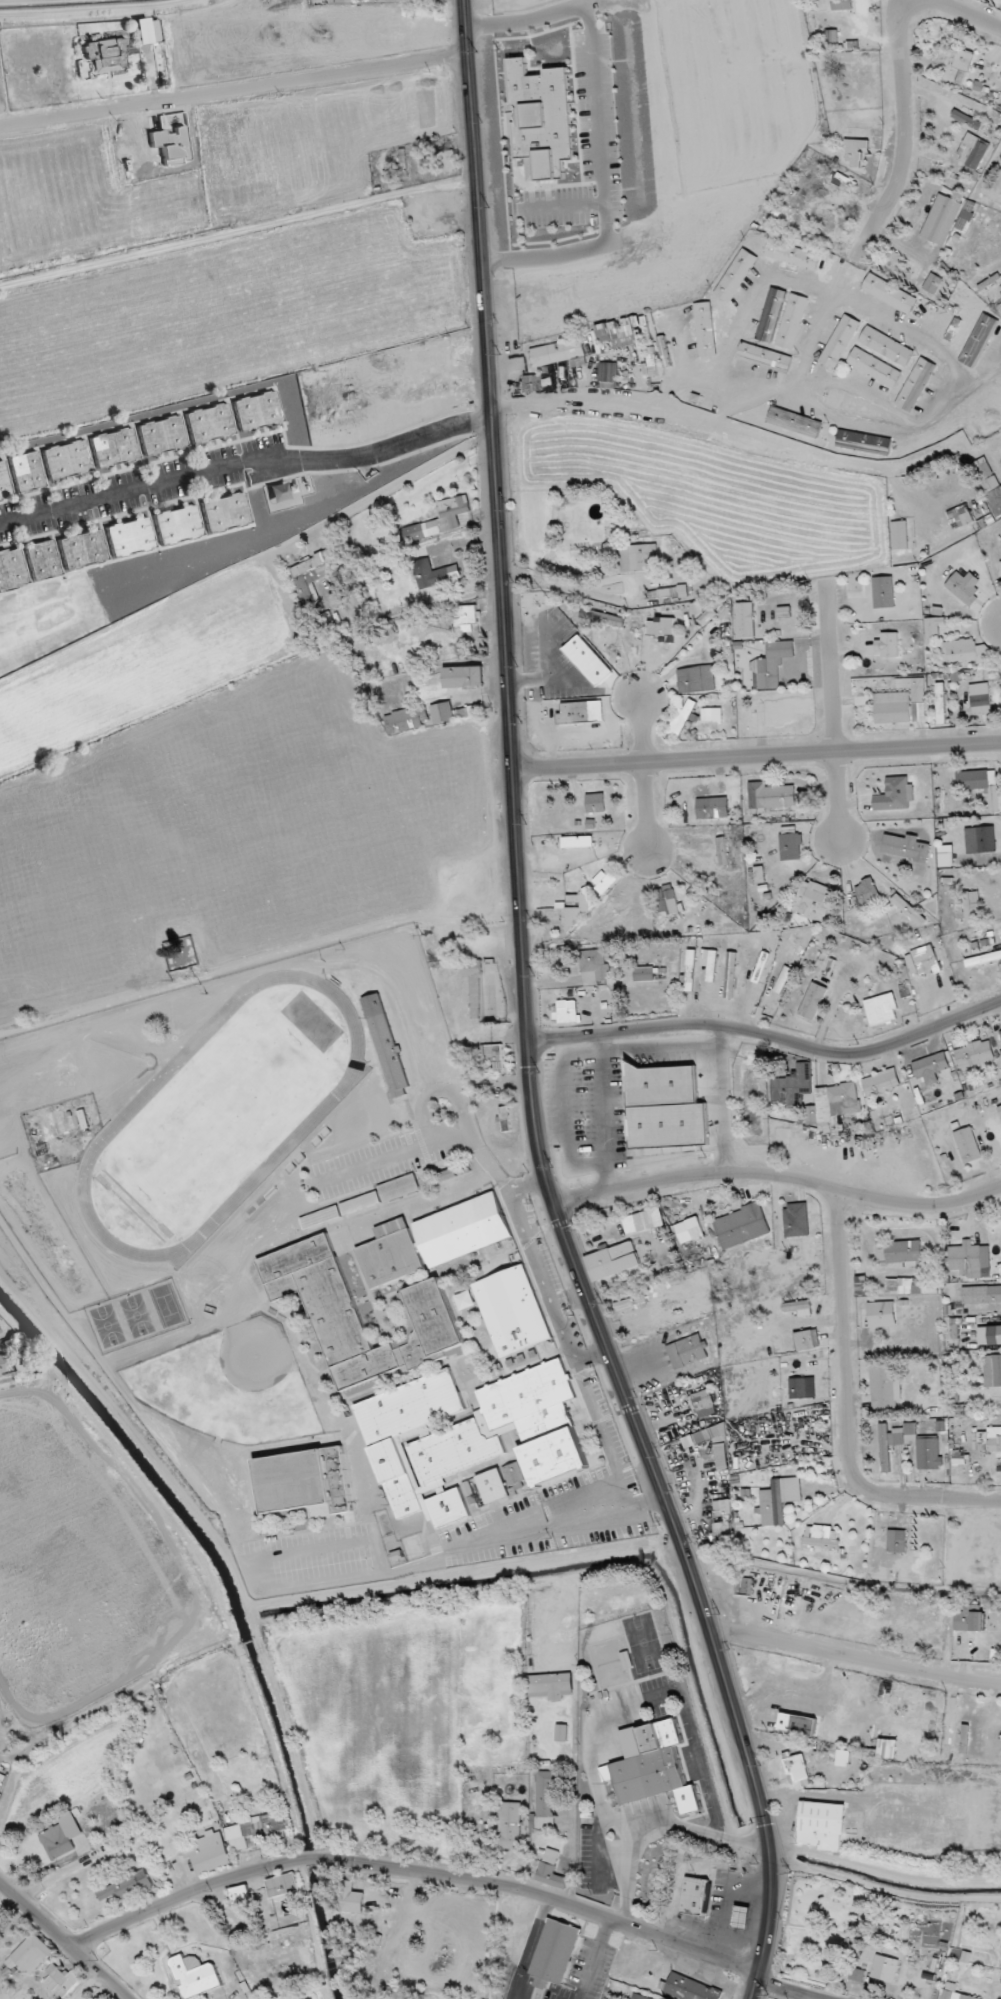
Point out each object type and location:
building: (841, 5)
road: (114, 8)
road: (973, 13)
building: (147, 30)
building: (831, 35)
building: (106, 55)
building: (962, 61)
road: (234, 94)
building: (538, 115)
building: (966, 120)
road: (600, 125)
building: (972, 150)
building: (854, 151)
building: (447, 160)
building: (971, 173)
building: (844, 182)
building: (967, 212)
building: (772, 218)
building: (941, 219)
road: (871, 226)
building: (791, 254)
building: (735, 275)
building: (932, 283)
building: (889, 293)
building: (770, 315)
building: (791, 321)
building: (704, 329)
building: (617, 331)
building: (978, 340)
building: (839, 341)
building: (640, 345)
building: (886, 346)
building: (560, 354)
building: (664, 354)
building: (764, 357)
building: (651, 361)
building: (873, 367)
building: (607, 375)
building: (537, 382)
building: (914, 384)
building: (257, 411)
building: (794, 422)
building: (209, 423)
building: (162, 435)
road: (742, 438)
building: (864, 439)
building: (114, 448)
building: (66, 460)
road: (246, 467)
building: (27, 471)
road: (405, 480)
building: (4, 482)
building: (989, 484)
building: (225, 513)
building: (959, 516)
building: (441, 519)
building: (178, 525)
building: (899, 535)
building: (130, 537)
building: (83, 549)
building: (639, 558)
building: (43, 560)
building: (11, 569)
building: (310, 570)
building: (1000, 571)
building: (434, 574)
road: (508, 578)
building: (963, 587)
road: (565, 589)
building: (672, 592)
building: (883, 592)
building: (696, 608)
building: (783, 611)
building: (464, 618)
building: (602, 618)
building: (745, 620)
building: (933, 629)
building: (671, 641)
building: (887, 644)
building: (965, 652)
building: (588, 660)
building: (771, 665)
road: (553, 676)
building: (463, 677)
building: (695, 679)
building: (980, 698)
building: (940, 703)
building: (902, 704)
building: (442, 712)
building: (574, 713)
building: (706, 714)
building: (680, 719)
building: (404, 720)
road: (837, 723)
road: (756, 756)
road: (644, 775)
building: (980, 785)
building: (895, 795)
building: (769, 797)
building: (595, 802)
building: (712, 808)
building: (980, 839)
building: (577, 841)
building: (790, 844)
building: (904, 847)
building: (722, 851)
building: (945, 855)
building: (759, 875)
building: (866, 891)
building: (588, 895)
building: (666, 900)
building: (812, 900)
building: (971, 904)
building: (908, 909)
building: (983, 959)
building: (922, 961)
building: (709, 963)
building: (826, 965)
building: (594, 966)
building: (689, 970)
building: (643, 973)
building: (730, 975)
building: (782, 979)
building: (474, 988)
building: (812, 1001)
building: (881, 1009)
building: (567, 1011)
road: (526, 1019)
building: (1000, 1033)
road: (769, 1036)
building: (385, 1045)
building: (974, 1054)
building: (493, 1056)
building: (933, 1069)
building: (881, 1083)
building: (660, 1085)
building: (792, 1086)
road: (722, 1098)
building: (836, 1106)
building: (999, 1110)
road: (608, 1111)
building: (811, 1115)
building: (505, 1119)
building: (667, 1124)
building: (967, 1145)
building: (464, 1168)
road: (777, 1174)
building: (445, 1175)
road: (527, 1184)
building: (399, 1188)
building: (360, 1203)
building: (320, 1217)
building: (797, 1219)
building: (642, 1221)
building: (741, 1226)
building: (683, 1232)
building: (433, 1240)
road: (530, 1240)
building: (899, 1251)
building: (966, 1259)
building: (612, 1261)
building: (909, 1285)
building: (981, 1294)
building: (464, 1301)
building: (628, 1303)
building: (798, 1307)
building: (512, 1311)
building: (881, 1314)
building: (430, 1319)
building: (954, 1330)
building: (989, 1335)
building: (806, 1340)
road: (661, 1346)
building: (689, 1354)
building: (3, 1365)
building: (992, 1370)
building: (884, 1387)
building: (797, 1388)
building: (954, 1395)
building: (704, 1403)
road: (846, 1410)
building: (957, 1410)
building: (467, 1436)
building: (987, 1439)
building: (928, 1450)
building: (722, 1456)
building: (959, 1458)
building: (514, 1477)
building: (306, 1481)
building: (493, 1486)
building: (778, 1499)
building: (472, 1503)
building: (722, 1507)
building: (722, 1518)
building: (724, 1536)
building: (820, 1536)
building: (896, 1541)
road: (375, 1574)
building: (969, 1621)
road: (855, 1659)
building: (551, 1685)
building: (797, 1724)
building: (561, 1733)
building: (887, 1748)
building: (652, 1766)
building: (795, 1766)
building: (544, 1800)
road: (658, 1824)
building: (509, 1825)
building: (820, 1827)
building: (254, 1831)
building: (57, 1841)
building: (208, 1852)
building: (551, 1870)
road: (451, 1877)
building: (282, 1884)
building: (128, 1887)
building: (239, 1894)
building: (693, 1895)
building: (350, 1898)
road: (730, 1901)
building: (741, 1917)
road: (62, 1941)
building: (555, 1953)
building: (30, 1954)
building: (884, 1967)
building: (854, 1974)
building: (195, 1976)
building: (60, 1981)
road: (85, 1986)
building: (690, 1988)
building: (954, 1993)
building: (638, 1997)

